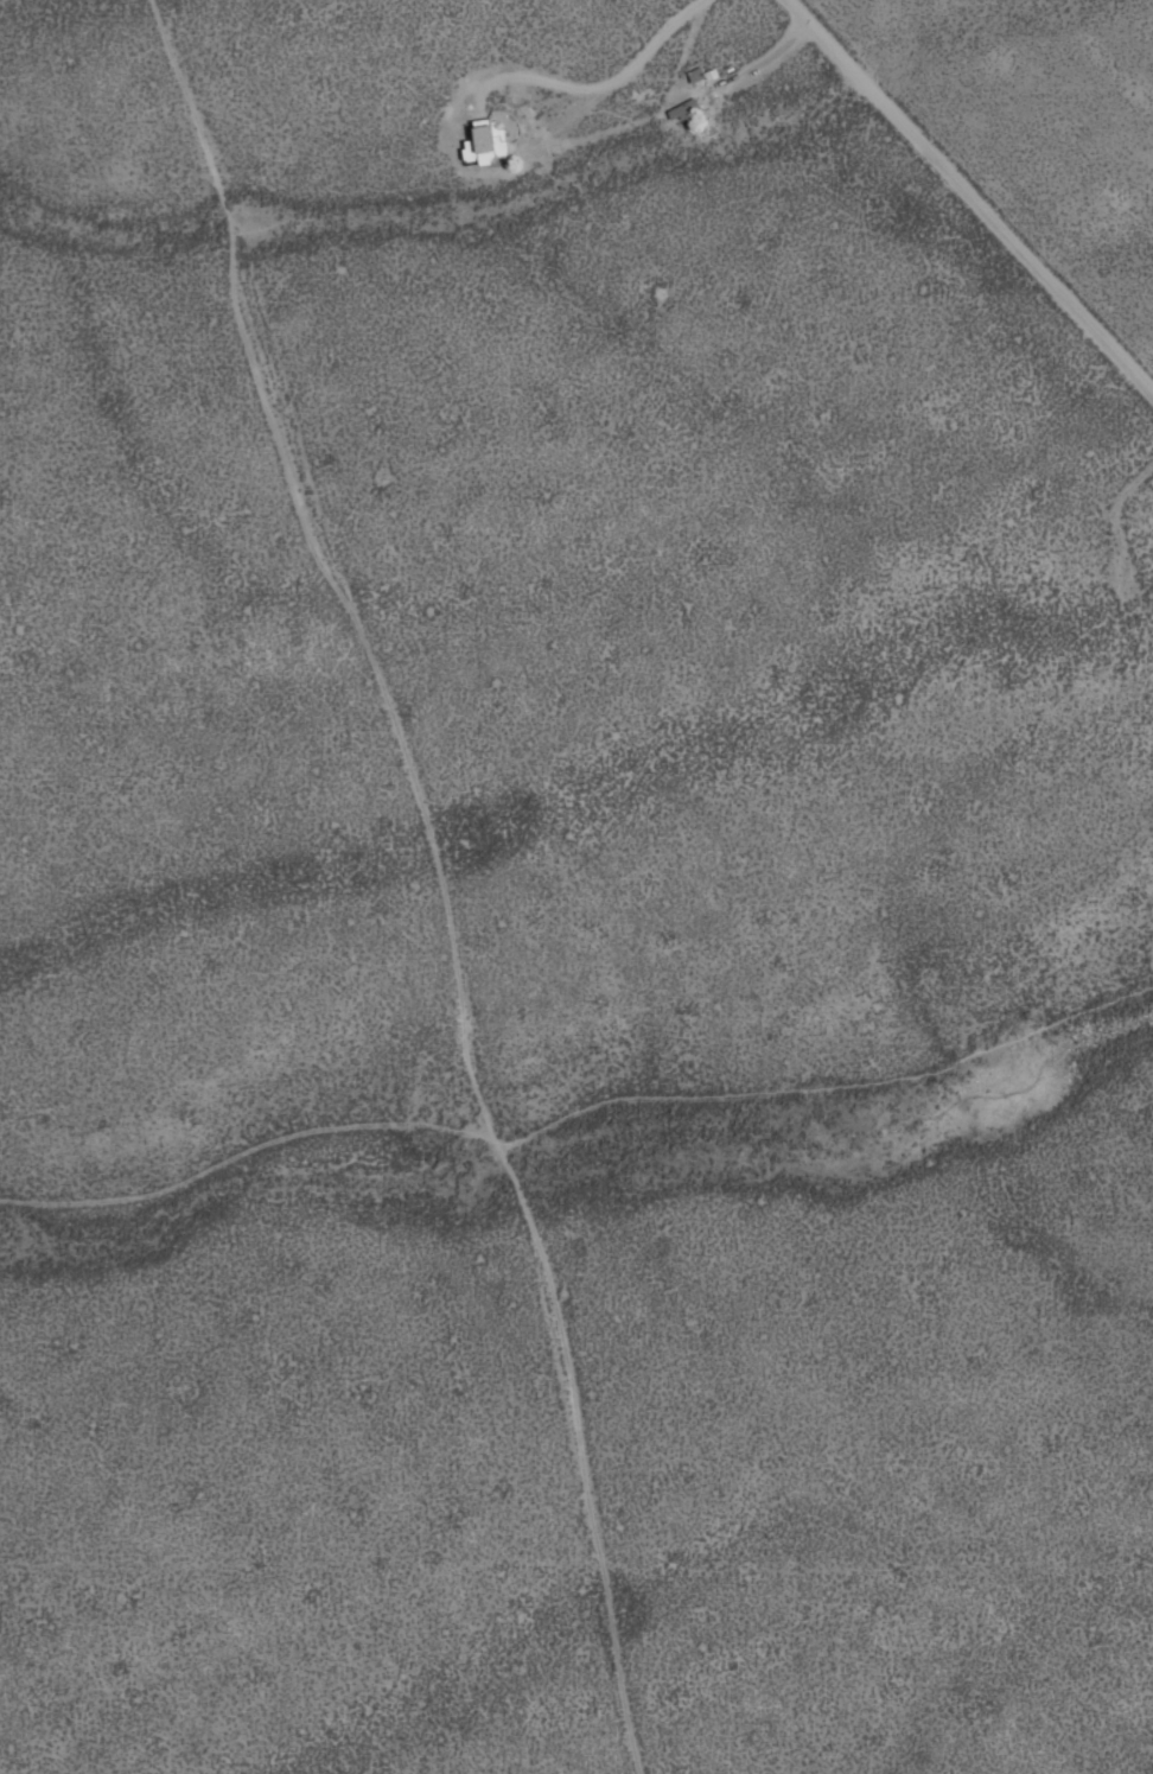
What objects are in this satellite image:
road: (969, 198)

